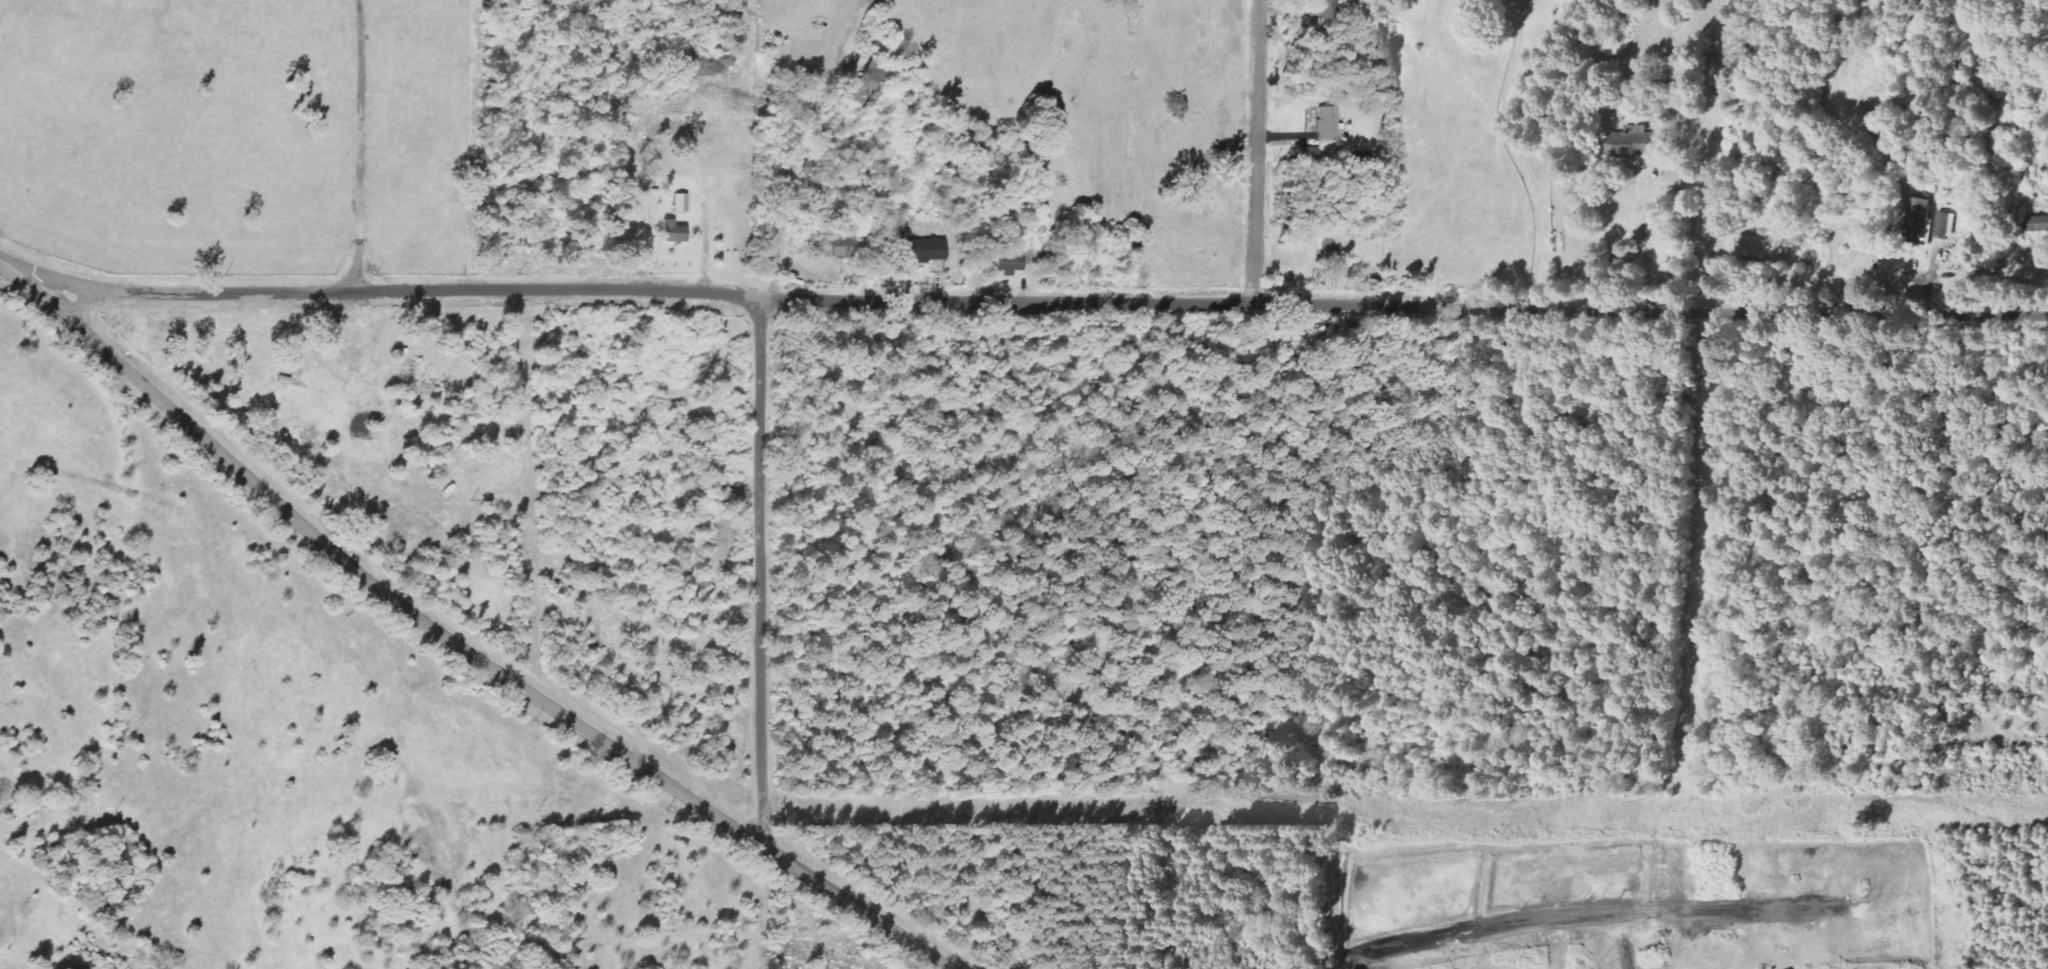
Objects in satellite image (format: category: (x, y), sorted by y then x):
building: (1326, 132)
building: (1635, 146)
road: (358, 147)
road: (1257, 152)
building: (681, 204)
building: (1931, 222)
building: (674, 233)
building: (839, 248)
building: (922, 251)
building: (1010, 263)
road: (1042, 304)
road: (762, 574)
road: (454, 643)

